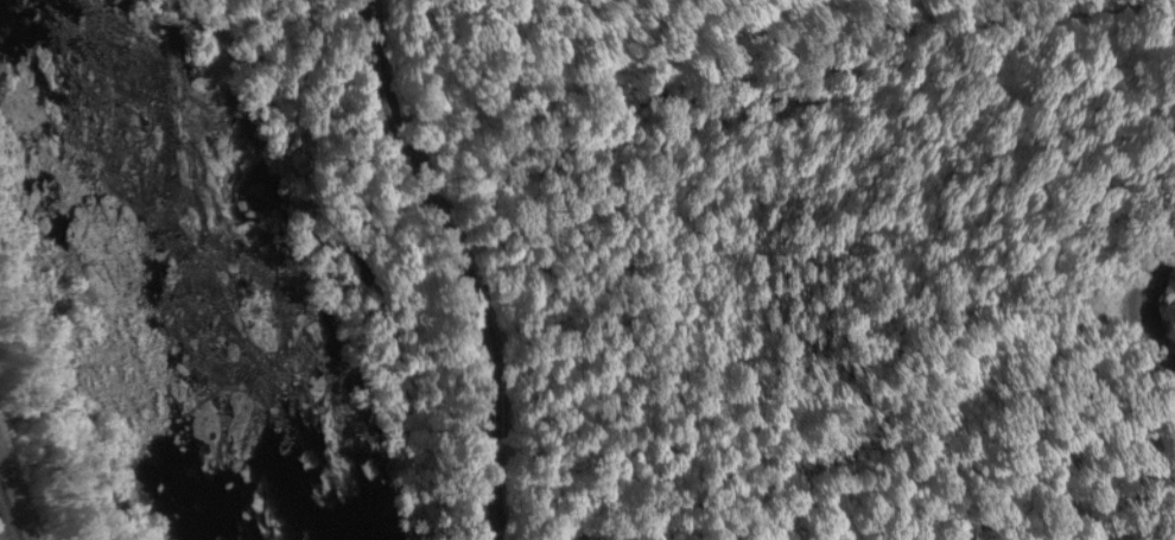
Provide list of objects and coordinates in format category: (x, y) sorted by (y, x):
road: (462, 262)
river: (158, 269)
road: (1148, 305)
railway: (9, 512)
railway: (4, 528)

